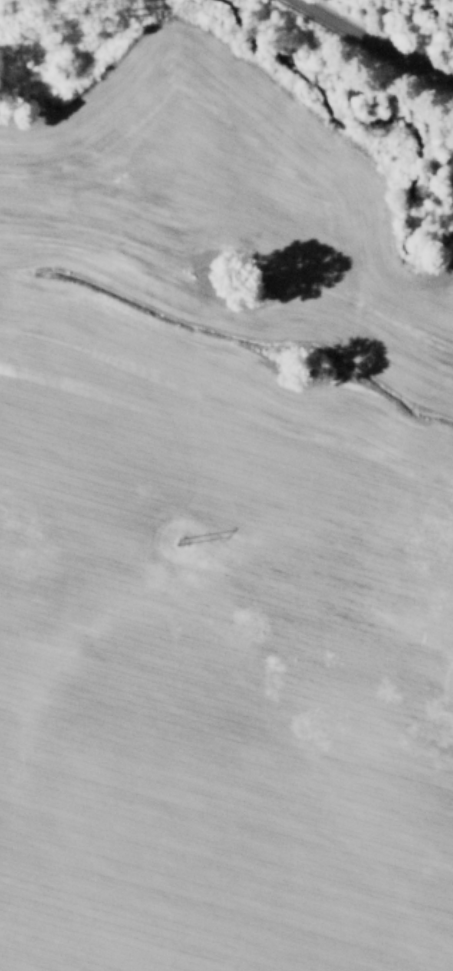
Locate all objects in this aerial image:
road: (375, 40)
crop: (218, 539)

